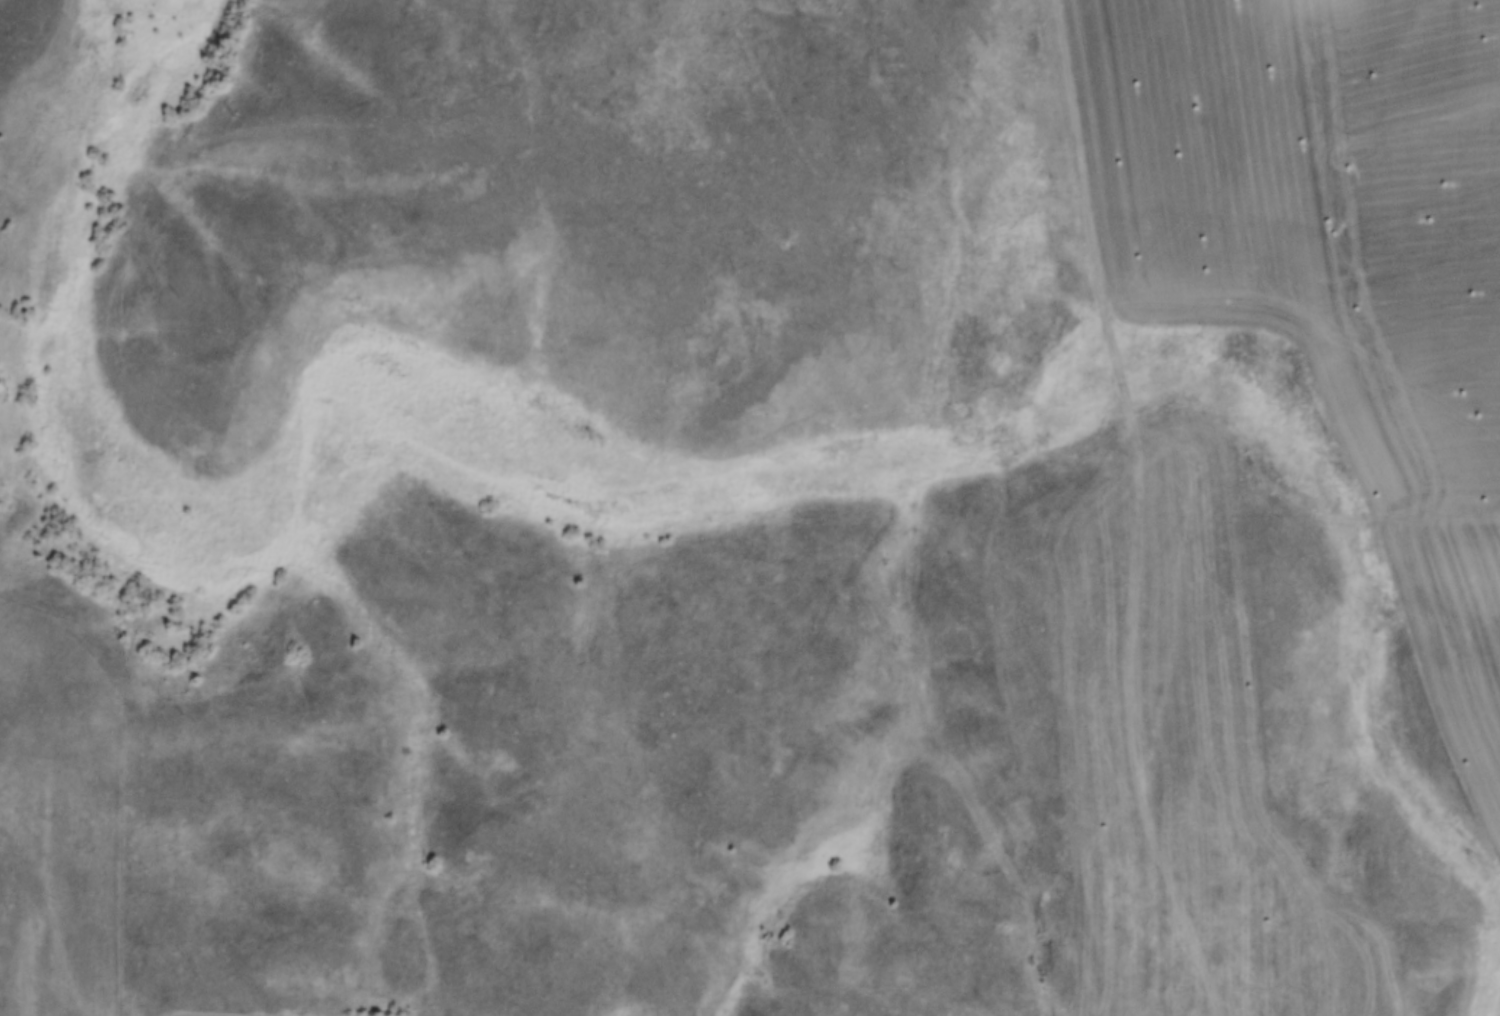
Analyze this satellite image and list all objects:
road: (1129, 514)

